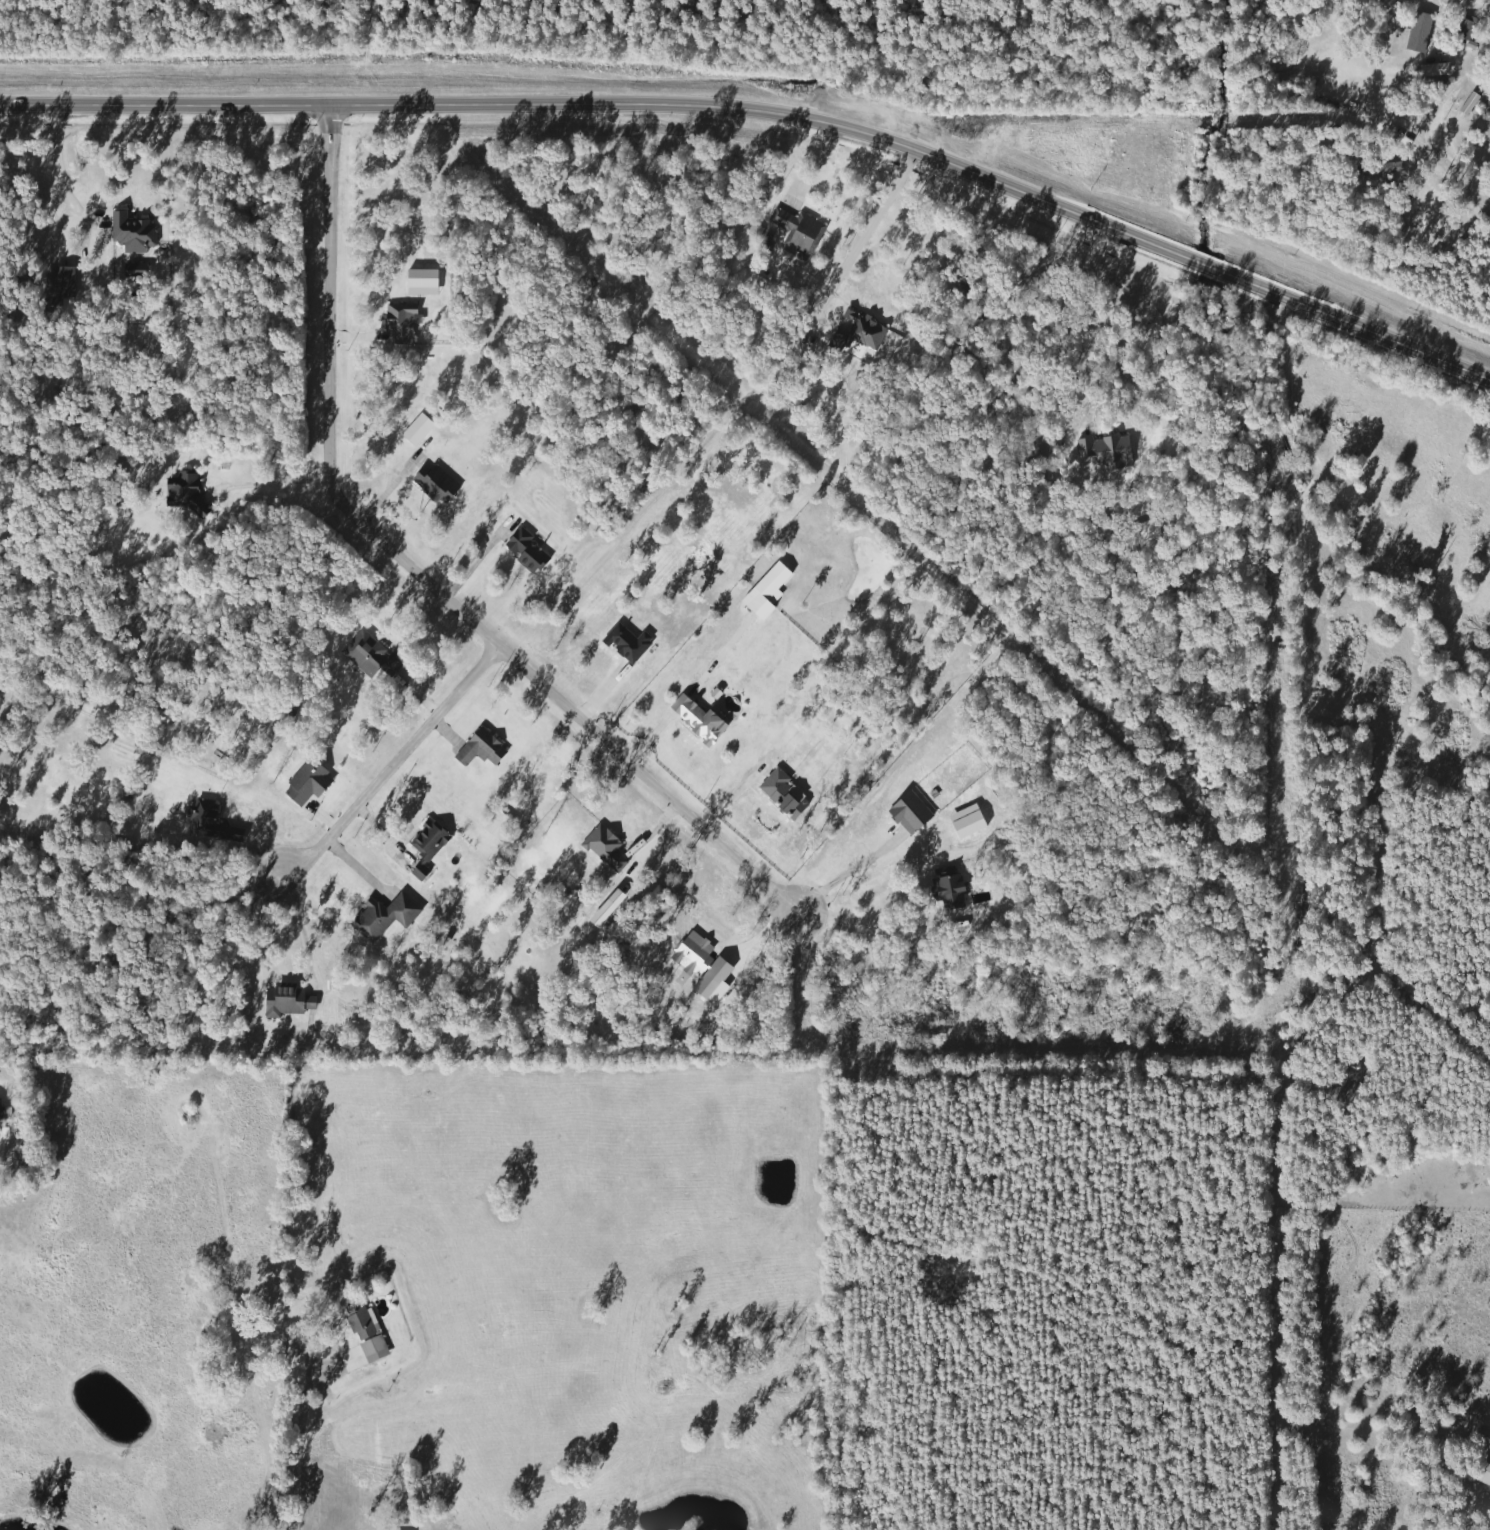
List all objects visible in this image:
building: (1488, 8)
road: (769, 112)
road: (1445, 149)
road: (56, 172)
building: (797, 231)
road: (865, 234)
road: (1094, 319)
building: (399, 322)
building: (415, 429)
building: (434, 483)
road: (283, 485)
building: (525, 551)
road: (472, 567)
road: (416, 578)
building: (370, 656)
building: (701, 725)
road: (661, 726)
road: (391, 765)
building: (205, 820)
building: (425, 846)
building: (604, 848)
road: (849, 877)
building: (382, 916)
road: (300, 920)
road: (868, 927)
building: (286, 1001)
building: (0, 1109)
building: (365, 1331)
road: (299, 1449)
building: (1483, 1475)

